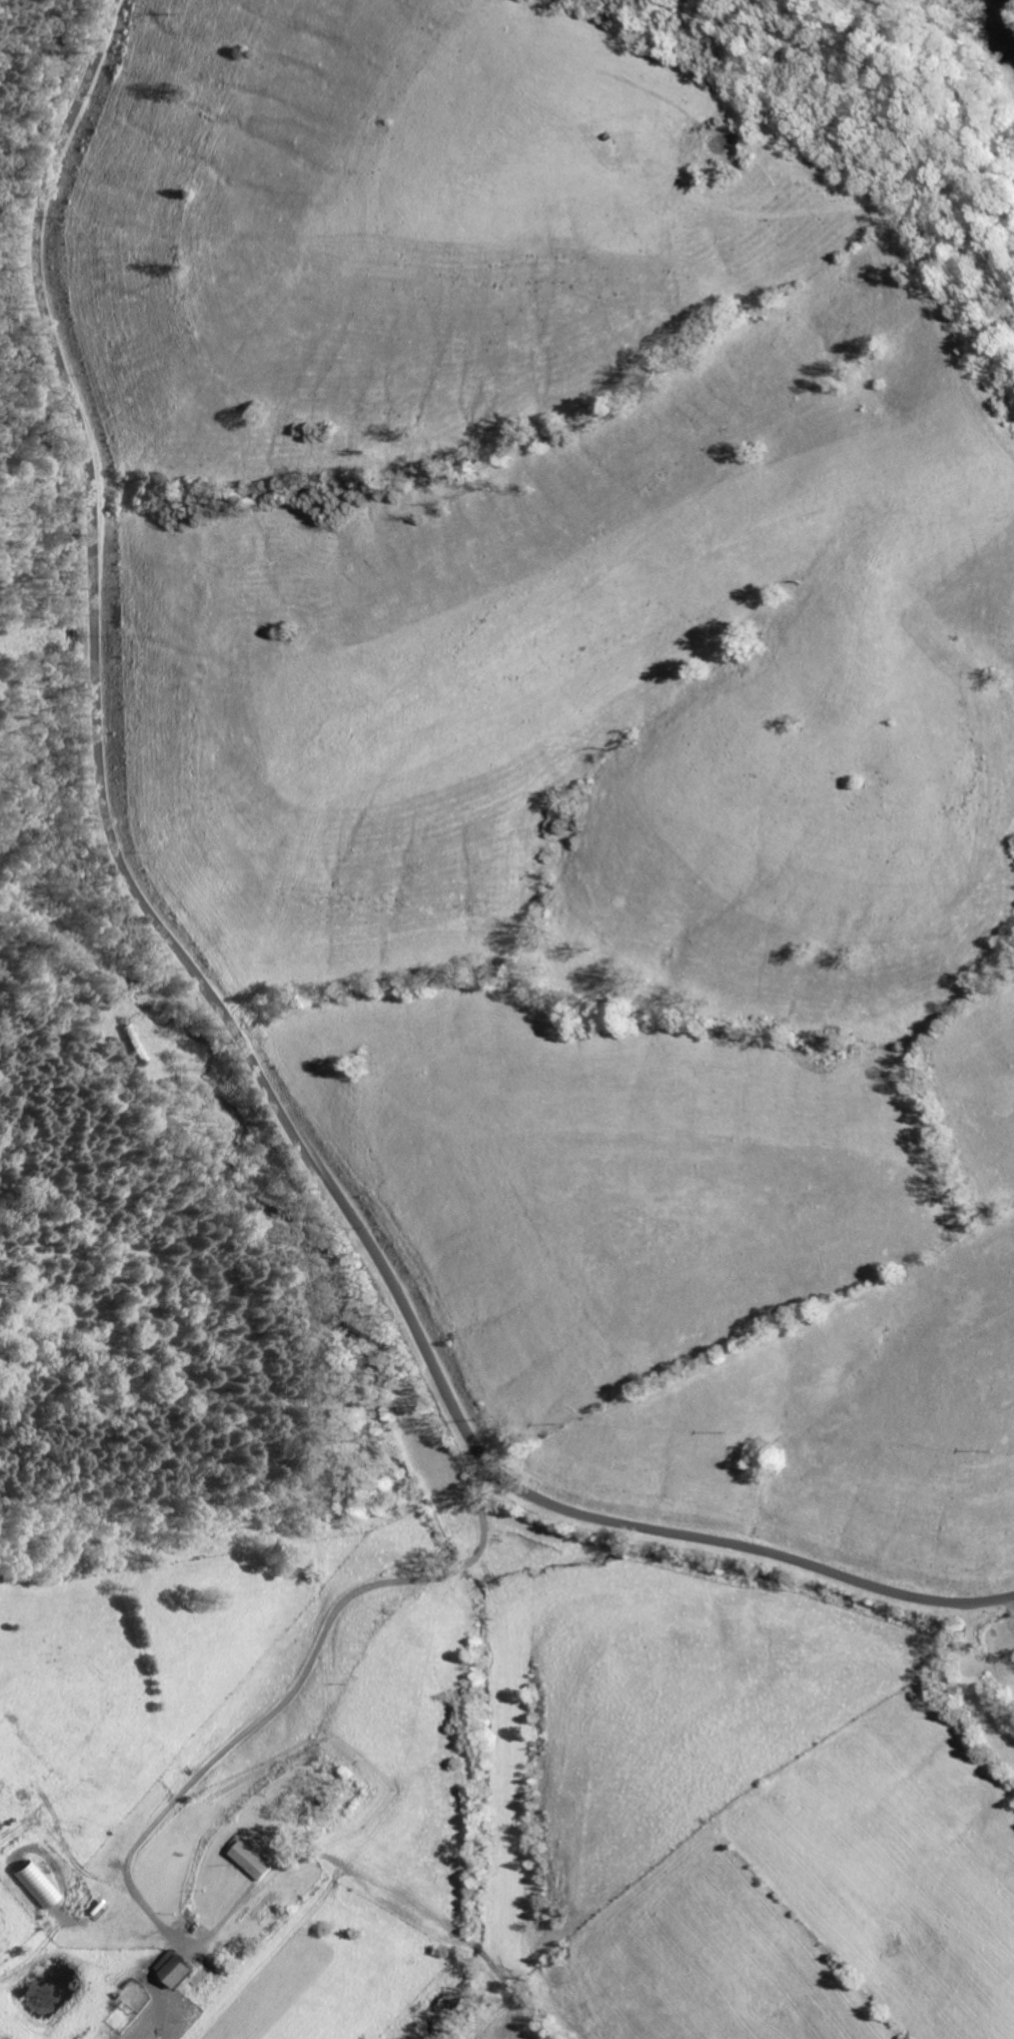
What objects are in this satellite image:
river: (997, 21)
road: (81, 947)
road: (225, 1015)
road: (1009, 1606)
road: (298, 1679)
building: (259, 1861)
building: (283, 1893)
building: (180, 1968)

